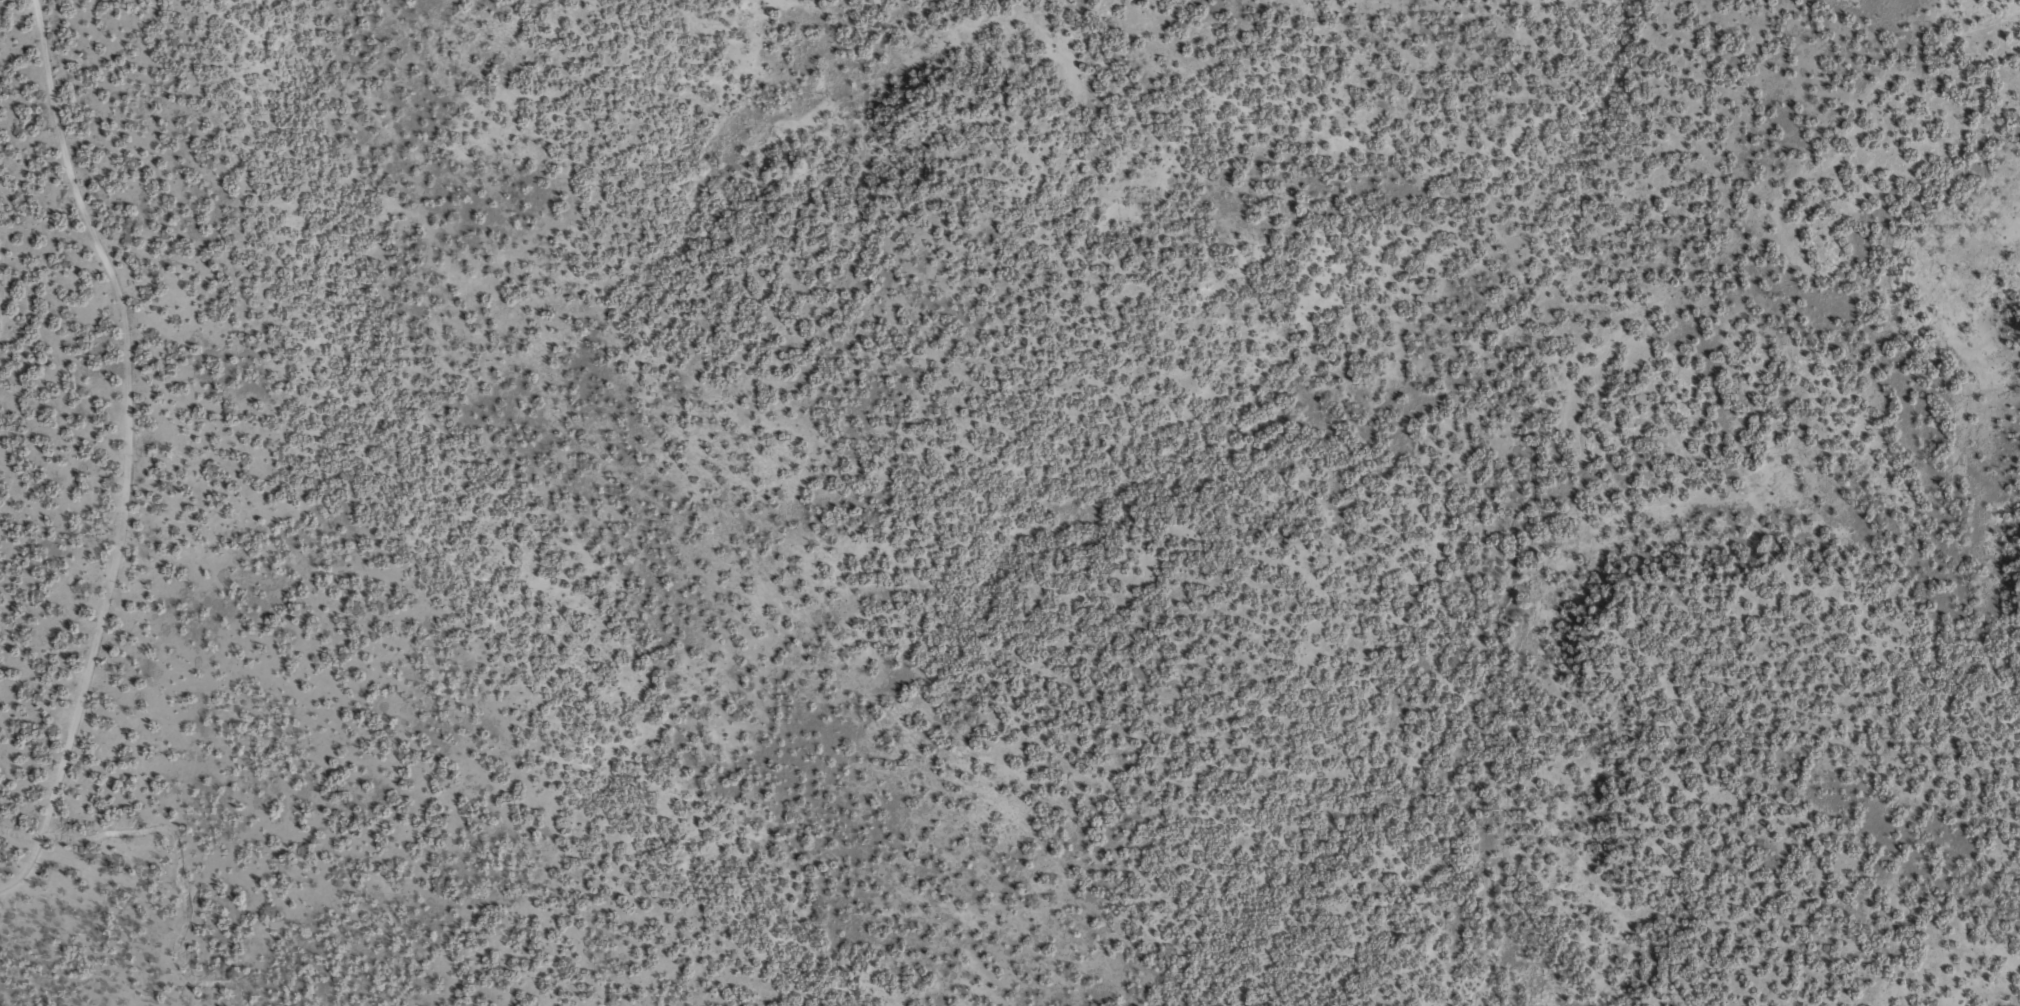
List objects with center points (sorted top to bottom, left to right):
road: (121, 431)

